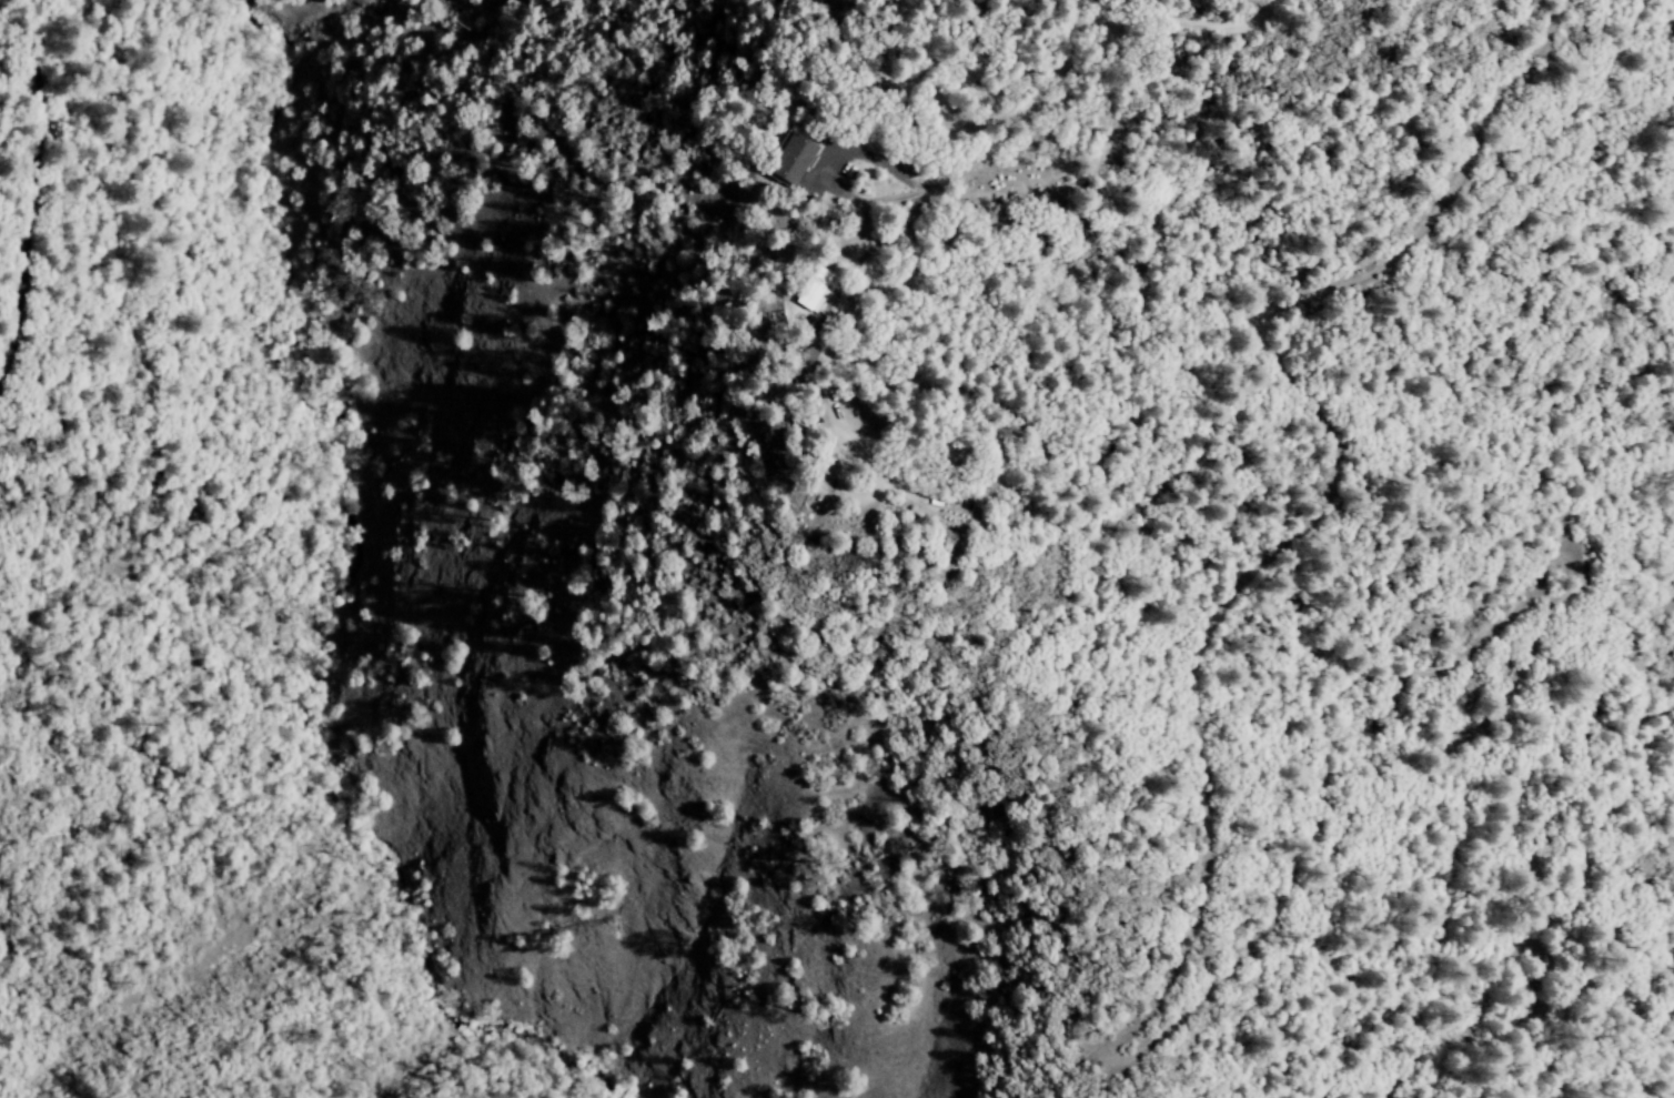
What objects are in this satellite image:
road: (1158, 21)
building: (785, 162)
building: (809, 292)
road: (1559, 933)
road: (1662, 1008)
road: (1099, 1057)

